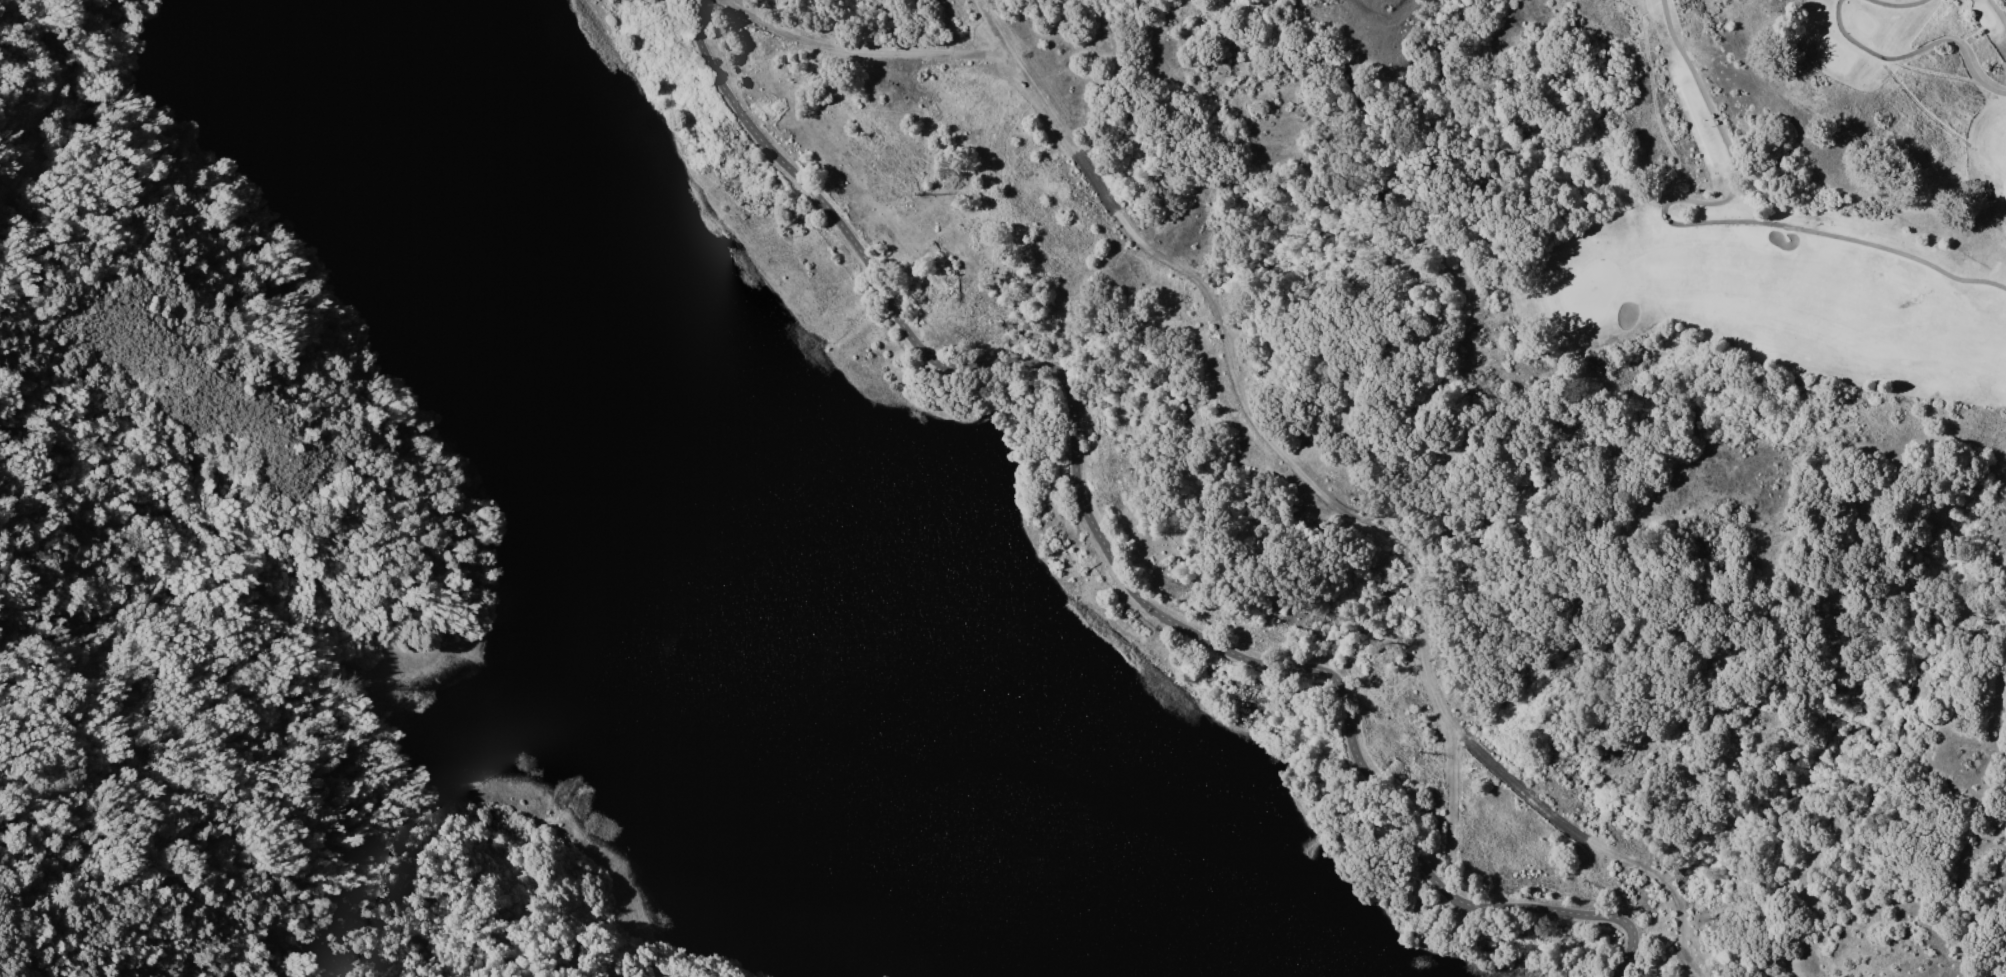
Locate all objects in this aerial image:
road: (1898, 4)
road: (859, 51)
road: (1917, 51)
road: (1023, 76)
road: (1094, 180)
park: (1794, 206)
road: (1692, 223)
park: (1587, 291)
road: (1297, 469)
road: (1105, 545)
road: (1522, 790)
road: (1451, 804)
road: (1671, 887)

